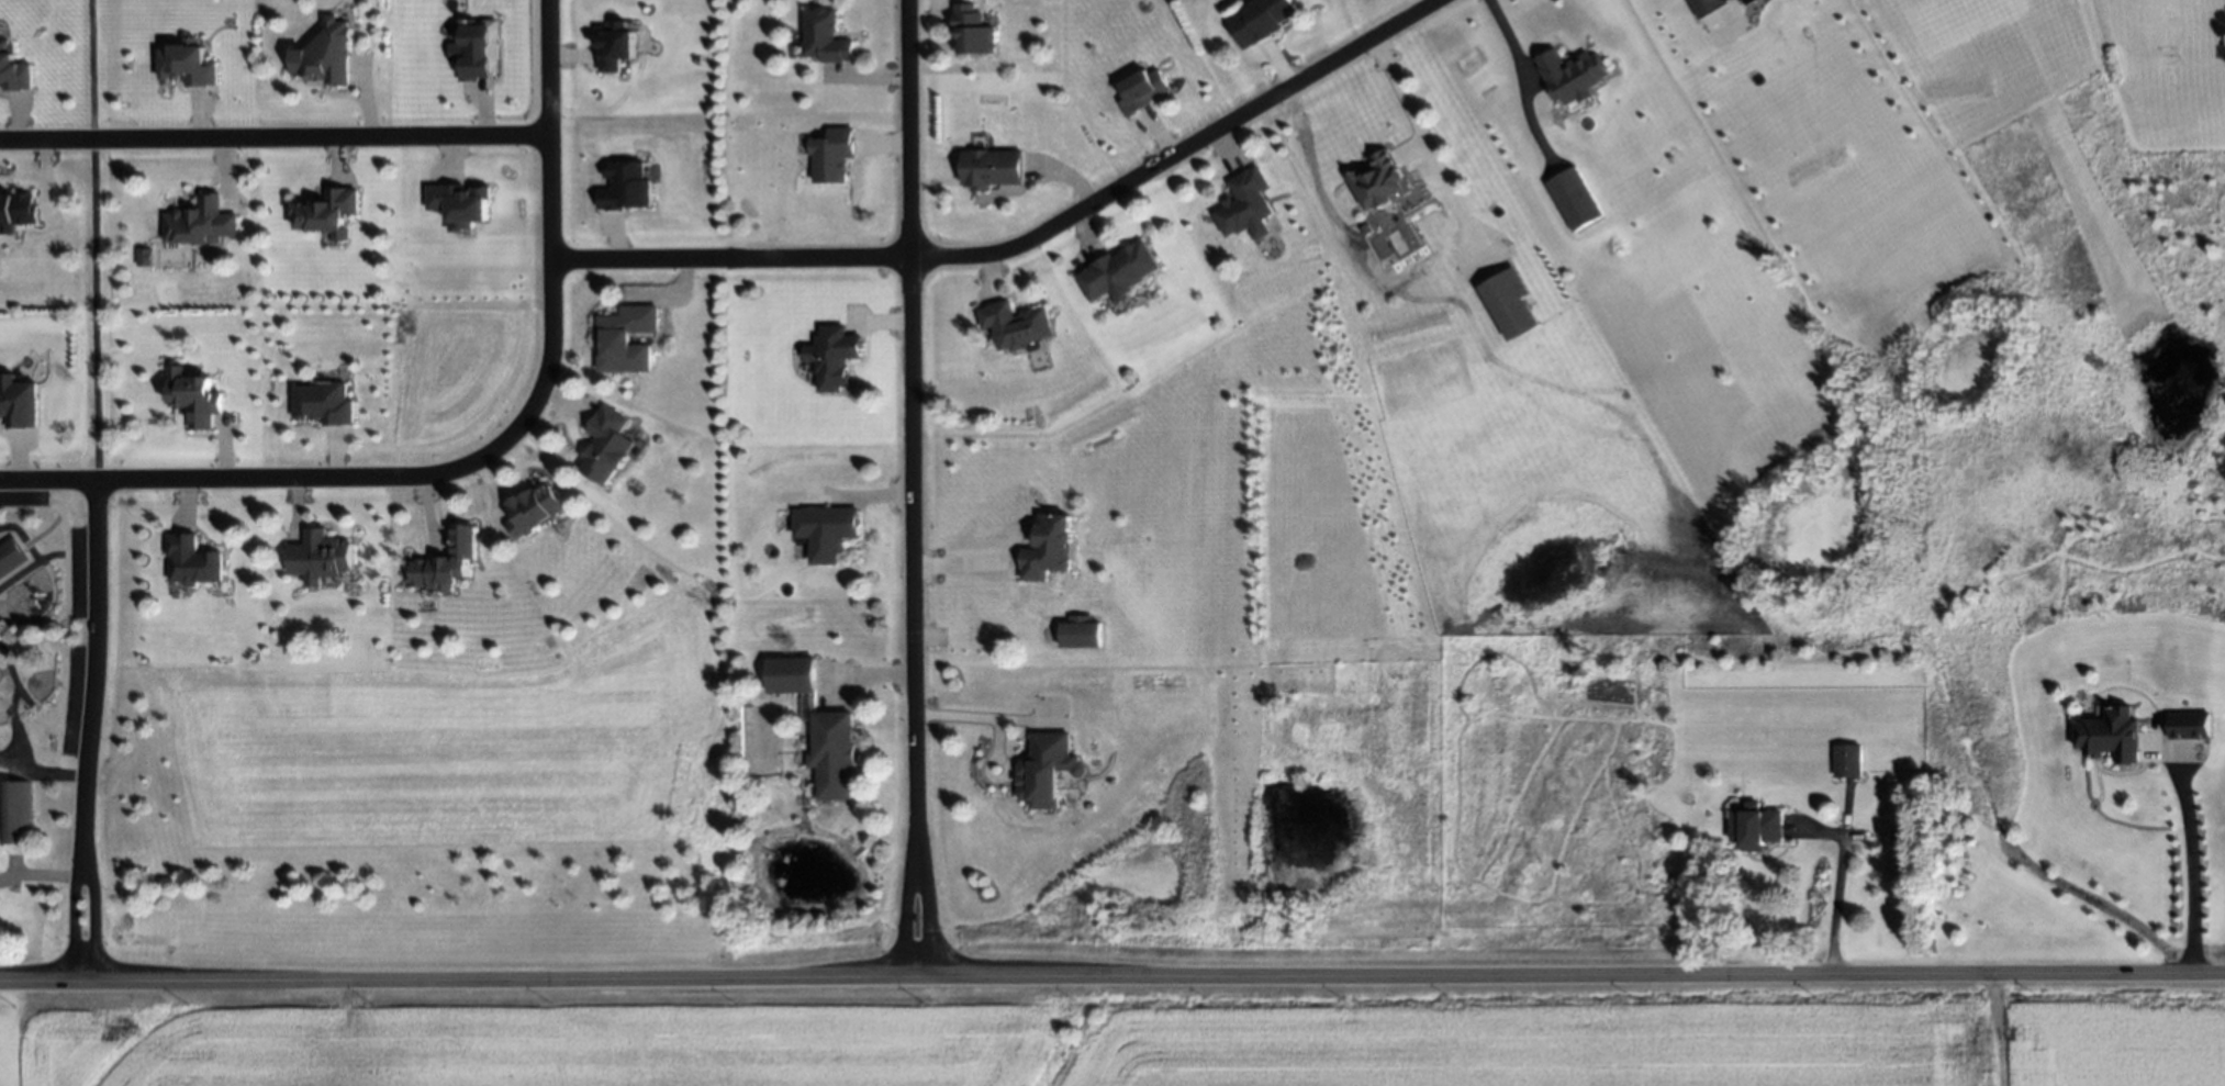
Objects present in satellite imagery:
building: (1748, 1)
building: (1707, 5)
building: (1260, 20)
building: (973, 31)
building: (825, 36)
building: (614, 46)
building: (325, 55)
building: (187, 65)
building: (13, 70)
building: (1572, 77)
road: (1529, 81)
building: (1143, 90)
road: (271, 137)
road: (1425, 149)
building: (831, 155)
building: (992, 168)
building: (1382, 180)
building: (625, 187)
building: (1573, 200)
building: (459, 205)
building: (1246, 205)
building: (16, 211)
building: (327, 213)
building: (203, 222)
road: (90, 240)
road: (1024, 242)
building: (144, 257)
building: (1122, 270)
building: (1509, 301)
building: (1014, 325)
building: (626, 336)
building: (832, 357)
building: (194, 395)
building: (18, 403)
building: (323, 404)
road: (908, 428)
building: (606, 443)
road: (479, 458)
building: (534, 506)
building: (825, 530)
building: (1046, 549)
building: (321, 555)
building: (10, 557)
building: (193, 560)
building: (449, 562)
park: (46, 623)
building: (1082, 631)
building: (791, 674)
road: (90, 676)
road: (973, 715)
building: (2189, 726)
building: (2112, 737)
building: (834, 754)
building: (1847, 760)
building: (1050, 766)
building: (14, 813)
building: (1754, 826)
road: (2194, 867)
road: (38, 873)
road: (1836, 907)
road: (901, 918)
road: (923, 919)
road: (68, 925)
road: (90, 926)
road: (1111, 979)

